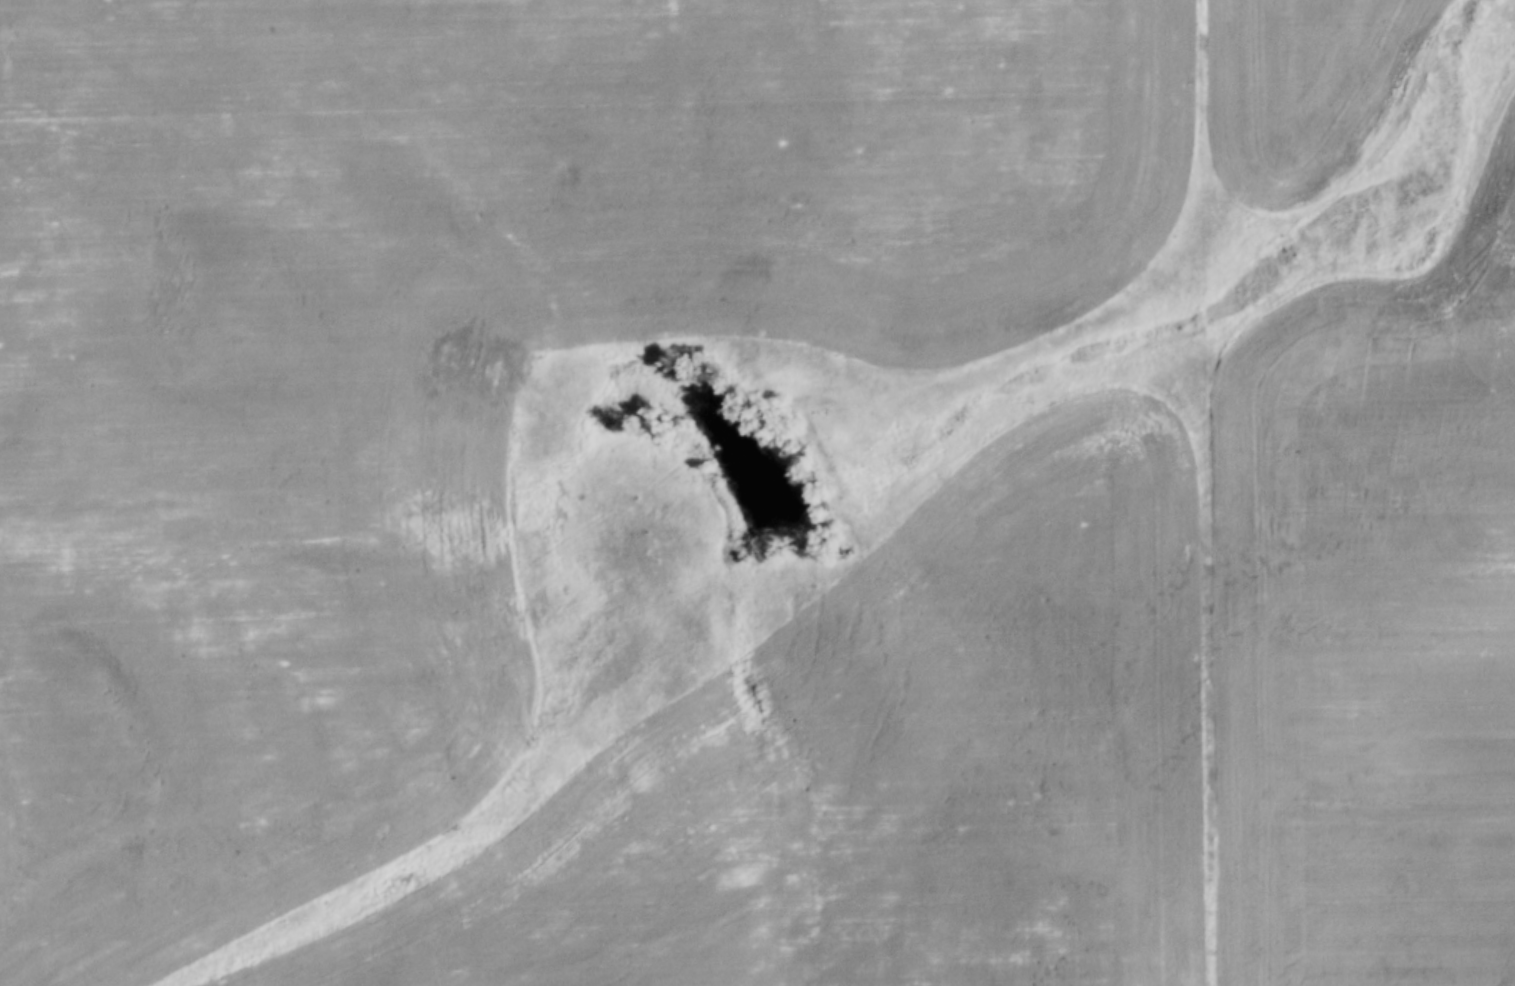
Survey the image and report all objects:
road: (1222, 493)

